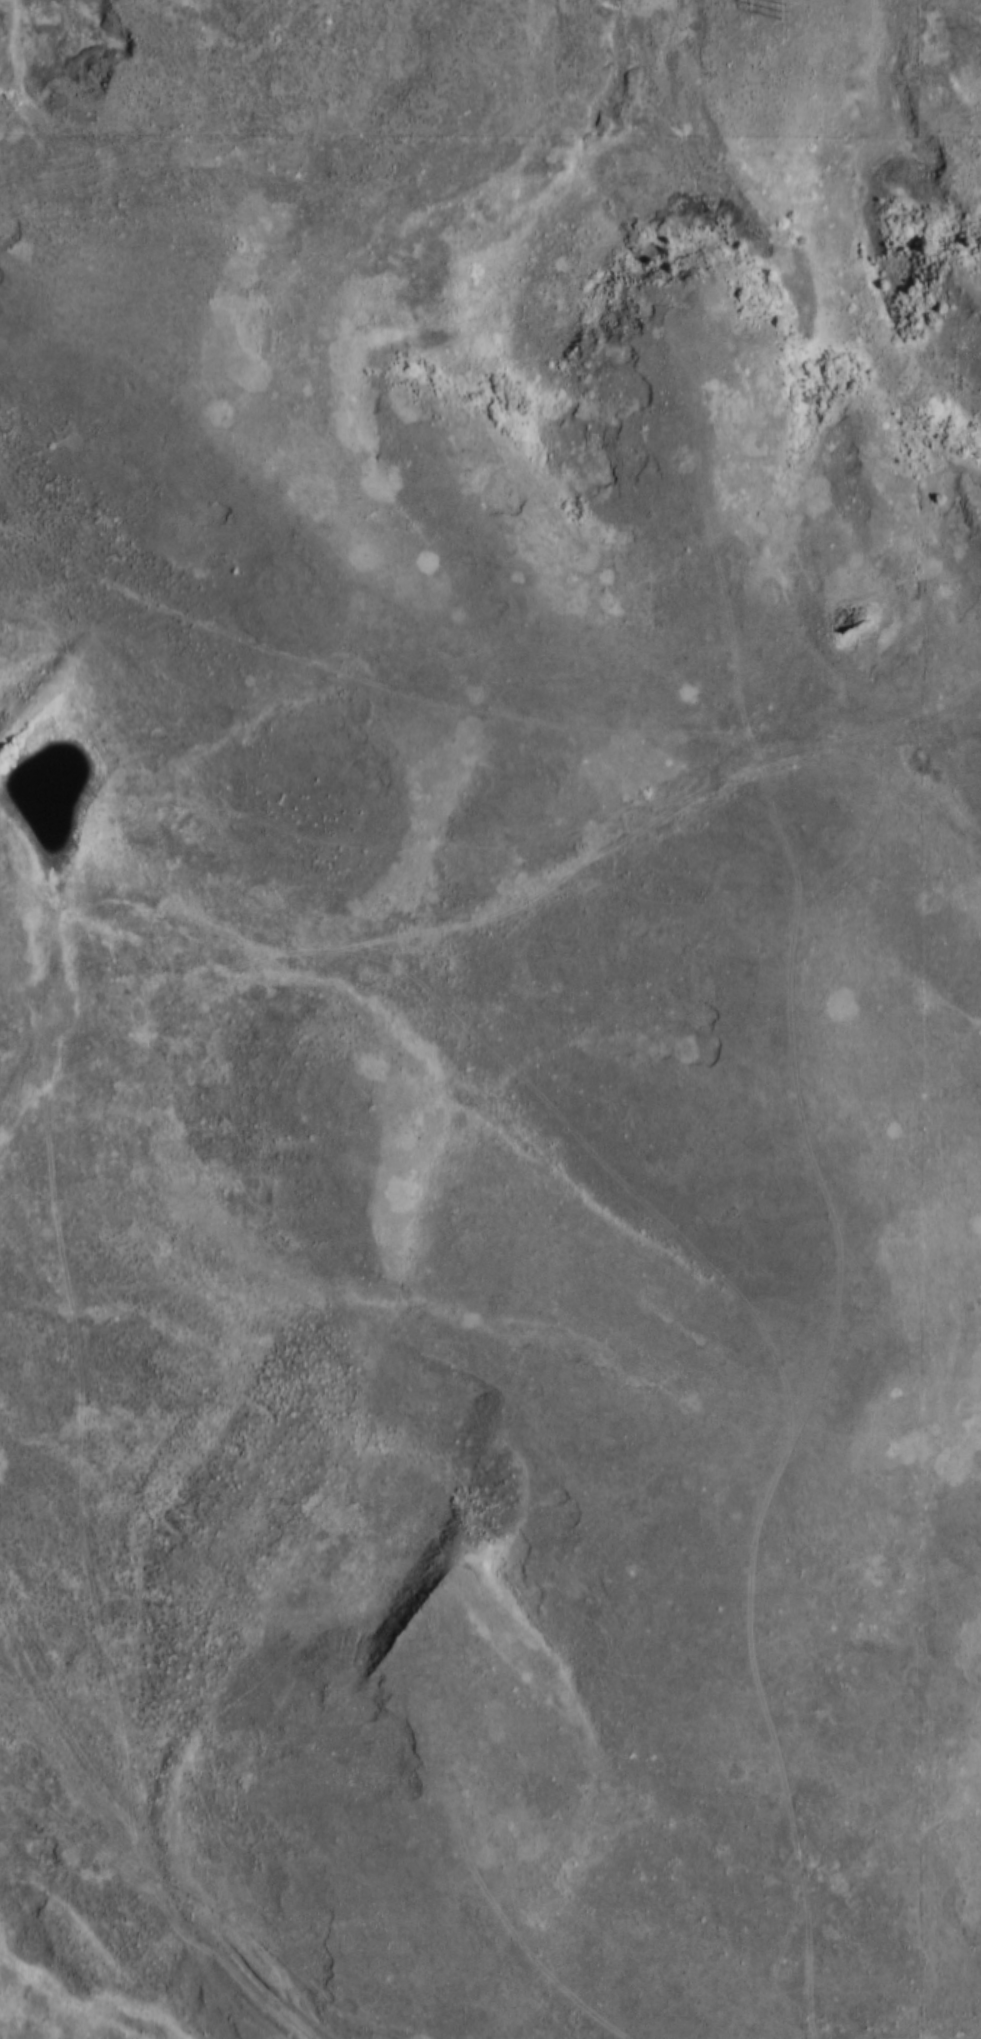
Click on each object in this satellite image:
power tower: (788, 8)
road: (101, 1613)
road: (69, 1725)

